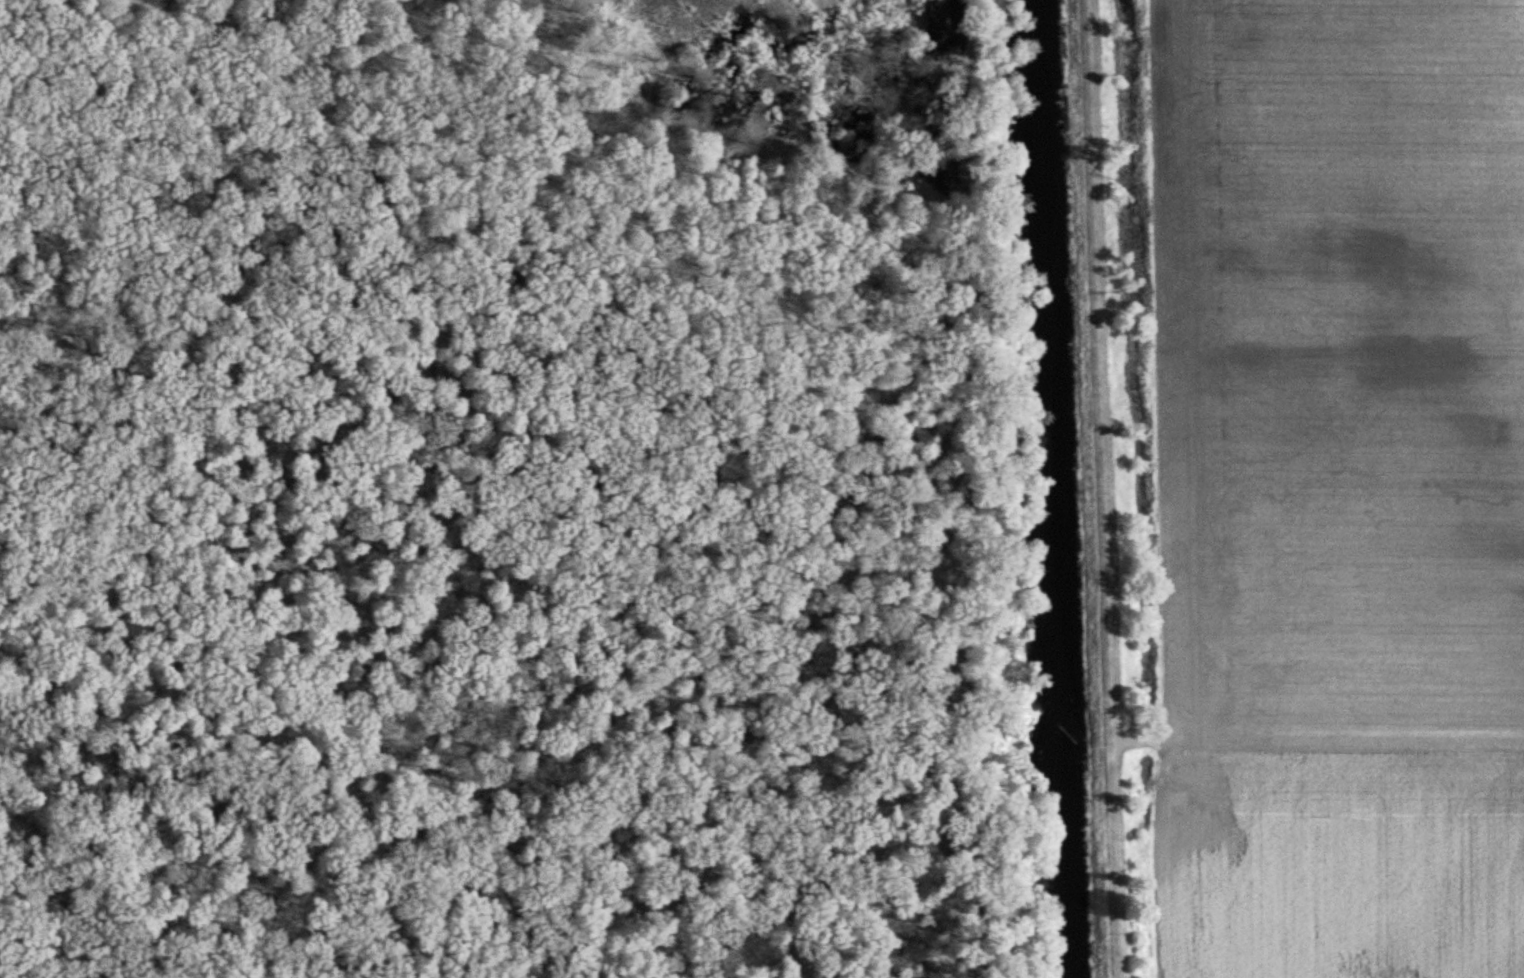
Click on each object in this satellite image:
crop: (1339, 486)

